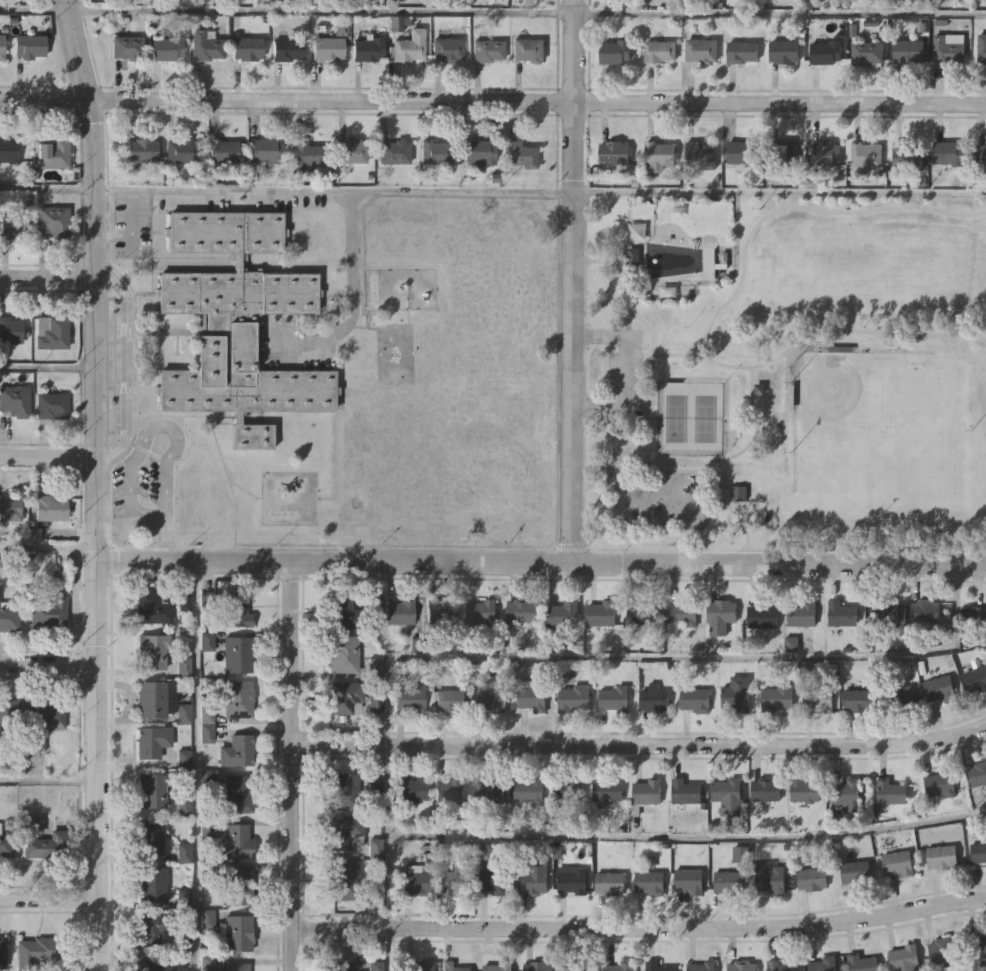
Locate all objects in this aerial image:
road: (35, 8)
road: (322, 10)
road: (780, 12)
building: (399, 22)
building: (206, 46)
building: (29, 47)
building: (408, 47)
building: (982, 47)
building: (2, 48)
building: (127, 48)
building: (167, 48)
building: (247, 49)
building: (328, 49)
building: (368, 49)
building: (287, 50)
building: (446, 50)
building: (527, 50)
building: (701, 50)
building: (785, 50)
building: (909, 50)
building: (948, 50)
building: (486, 51)
building: (615, 51)
building: (659, 51)
building: (742, 51)
building: (867, 51)
building: (824, 52)
road: (492, 101)
building: (9, 150)
building: (142, 151)
building: (182, 152)
building: (223, 152)
building: (266, 152)
building: (393, 152)
building: (615, 152)
building: (54, 153)
building: (354, 153)
building: (435, 153)
building: (479, 153)
building: (785, 153)
building: (949, 153)
building: (742, 154)
building: (824, 154)
building: (521, 155)
building: (908, 155)
building: (982, 155)
building: (306, 156)
building: (658, 156)
building: (699, 156)
building: (865, 157)
road: (47, 188)
road: (334, 190)
road: (780, 190)
building: (53, 222)
building: (11, 223)
road: (131, 229)
building: (636, 231)
building: (634, 256)
building: (706, 260)
road: (48, 276)
road: (573, 280)
road: (351, 297)
building: (235, 324)
building: (10, 330)
building: (51, 332)
road: (127, 366)
road: (48, 367)
road: (621, 372)
park: (779, 377)
building: (15, 401)
building: (51, 404)
park: (854, 413)
park: (674, 419)
park: (704, 420)
road: (149, 436)
road: (49, 457)
road: (98, 484)
building: (51, 506)
building: (10, 508)
road: (165, 537)
road: (49, 546)
road: (542, 560)
building: (183, 598)
building: (208, 599)
building: (154, 604)
building: (236, 608)
building: (522, 609)
building: (52, 610)
building: (441, 611)
building: (399, 612)
building: (603, 612)
building: (641, 612)
building: (682, 612)
building: (886, 612)
building: (924, 612)
building: (344, 613)
building: (564, 613)
building: (800, 613)
building: (843, 613)
building: (481, 614)
building: (721, 614)
building: (10, 616)
building: (764, 616)
building: (977, 617)
building: (153, 649)
building: (237, 652)
building: (344, 653)
road: (669, 656)
road: (49, 663)
building: (184, 665)
building: (977, 675)
building: (941, 688)
building: (736, 692)
building: (531, 695)
building: (818, 695)
building: (345, 696)
building: (493, 696)
building: (777, 696)
building: (900, 696)
building: (411, 697)
building: (574, 697)
building: (238, 698)
building: (613, 698)
building: (655, 698)
building: (695, 698)
building: (859, 698)
building: (152, 699)
building: (452, 699)
building: (376, 701)
building: (10, 709)
building: (184, 713)
building: (43, 720)
building: (151, 741)
road: (639, 744)
building: (236, 752)
building: (182, 759)
road: (292, 765)
road: (194, 766)
building: (978, 772)
road: (49, 780)
building: (941, 783)
building: (569, 787)
building: (154, 788)
building: (412, 788)
building: (766, 788)
building: (530, 789)
building: (608, 789)
building: (728, 789)
building: (805, 789)
building: (451, 790)
building: (489, 790)
building: (344, 791)
building: (687, 791)
building: (239, 792)
building: (647, 792)
building: (847, 792)
building: (890, 792)
building: (185, 805)
building: (345, 832)
road: (686, 835)
building: (151, 836)
road: (385, 836)
building: (43, 840)
building: (237, 841)
building: (6, 845)
building: (184, 850)
building: (979, 851)
building: (943, 856)
building: (899, 862)
building: (374, 868)
building: (857, 871)
building: (493, 877)
building: (535, 877)
building: (813, 877)
building: (416, 879)
building: (454, 879)
building: (572, 879)
building: (770, 879)
building: (689, 880)
building: (345, 881)
building: (729, 881)
building: (649, 882)
building: (153, 883)
building: (609, 883)
building: (238, 885)
building: (183, 897)
road: (49, 909)
building: (154, 926)
road: (640, 927)
building: (237, 932)
building: (978, 942)
road: (385, 949)
building: (943, 950)
building: (3, 951)
building: (39, 951)
building: (904, 958)
building: (207, 961)
building: (862, 963)
building: (823, 964)
building: (154, 965)
building: (340, 965)
building: (500, 965)
building: (539, 965)
building: (577, 965)
building: (237, 966)
building: (375, 966)
building: (420, 966)
building: (455, 966)
building: (620, 966)
building: (656, 966)
building: (701, 966)
building: (741, 966)
building: (779, 966)

